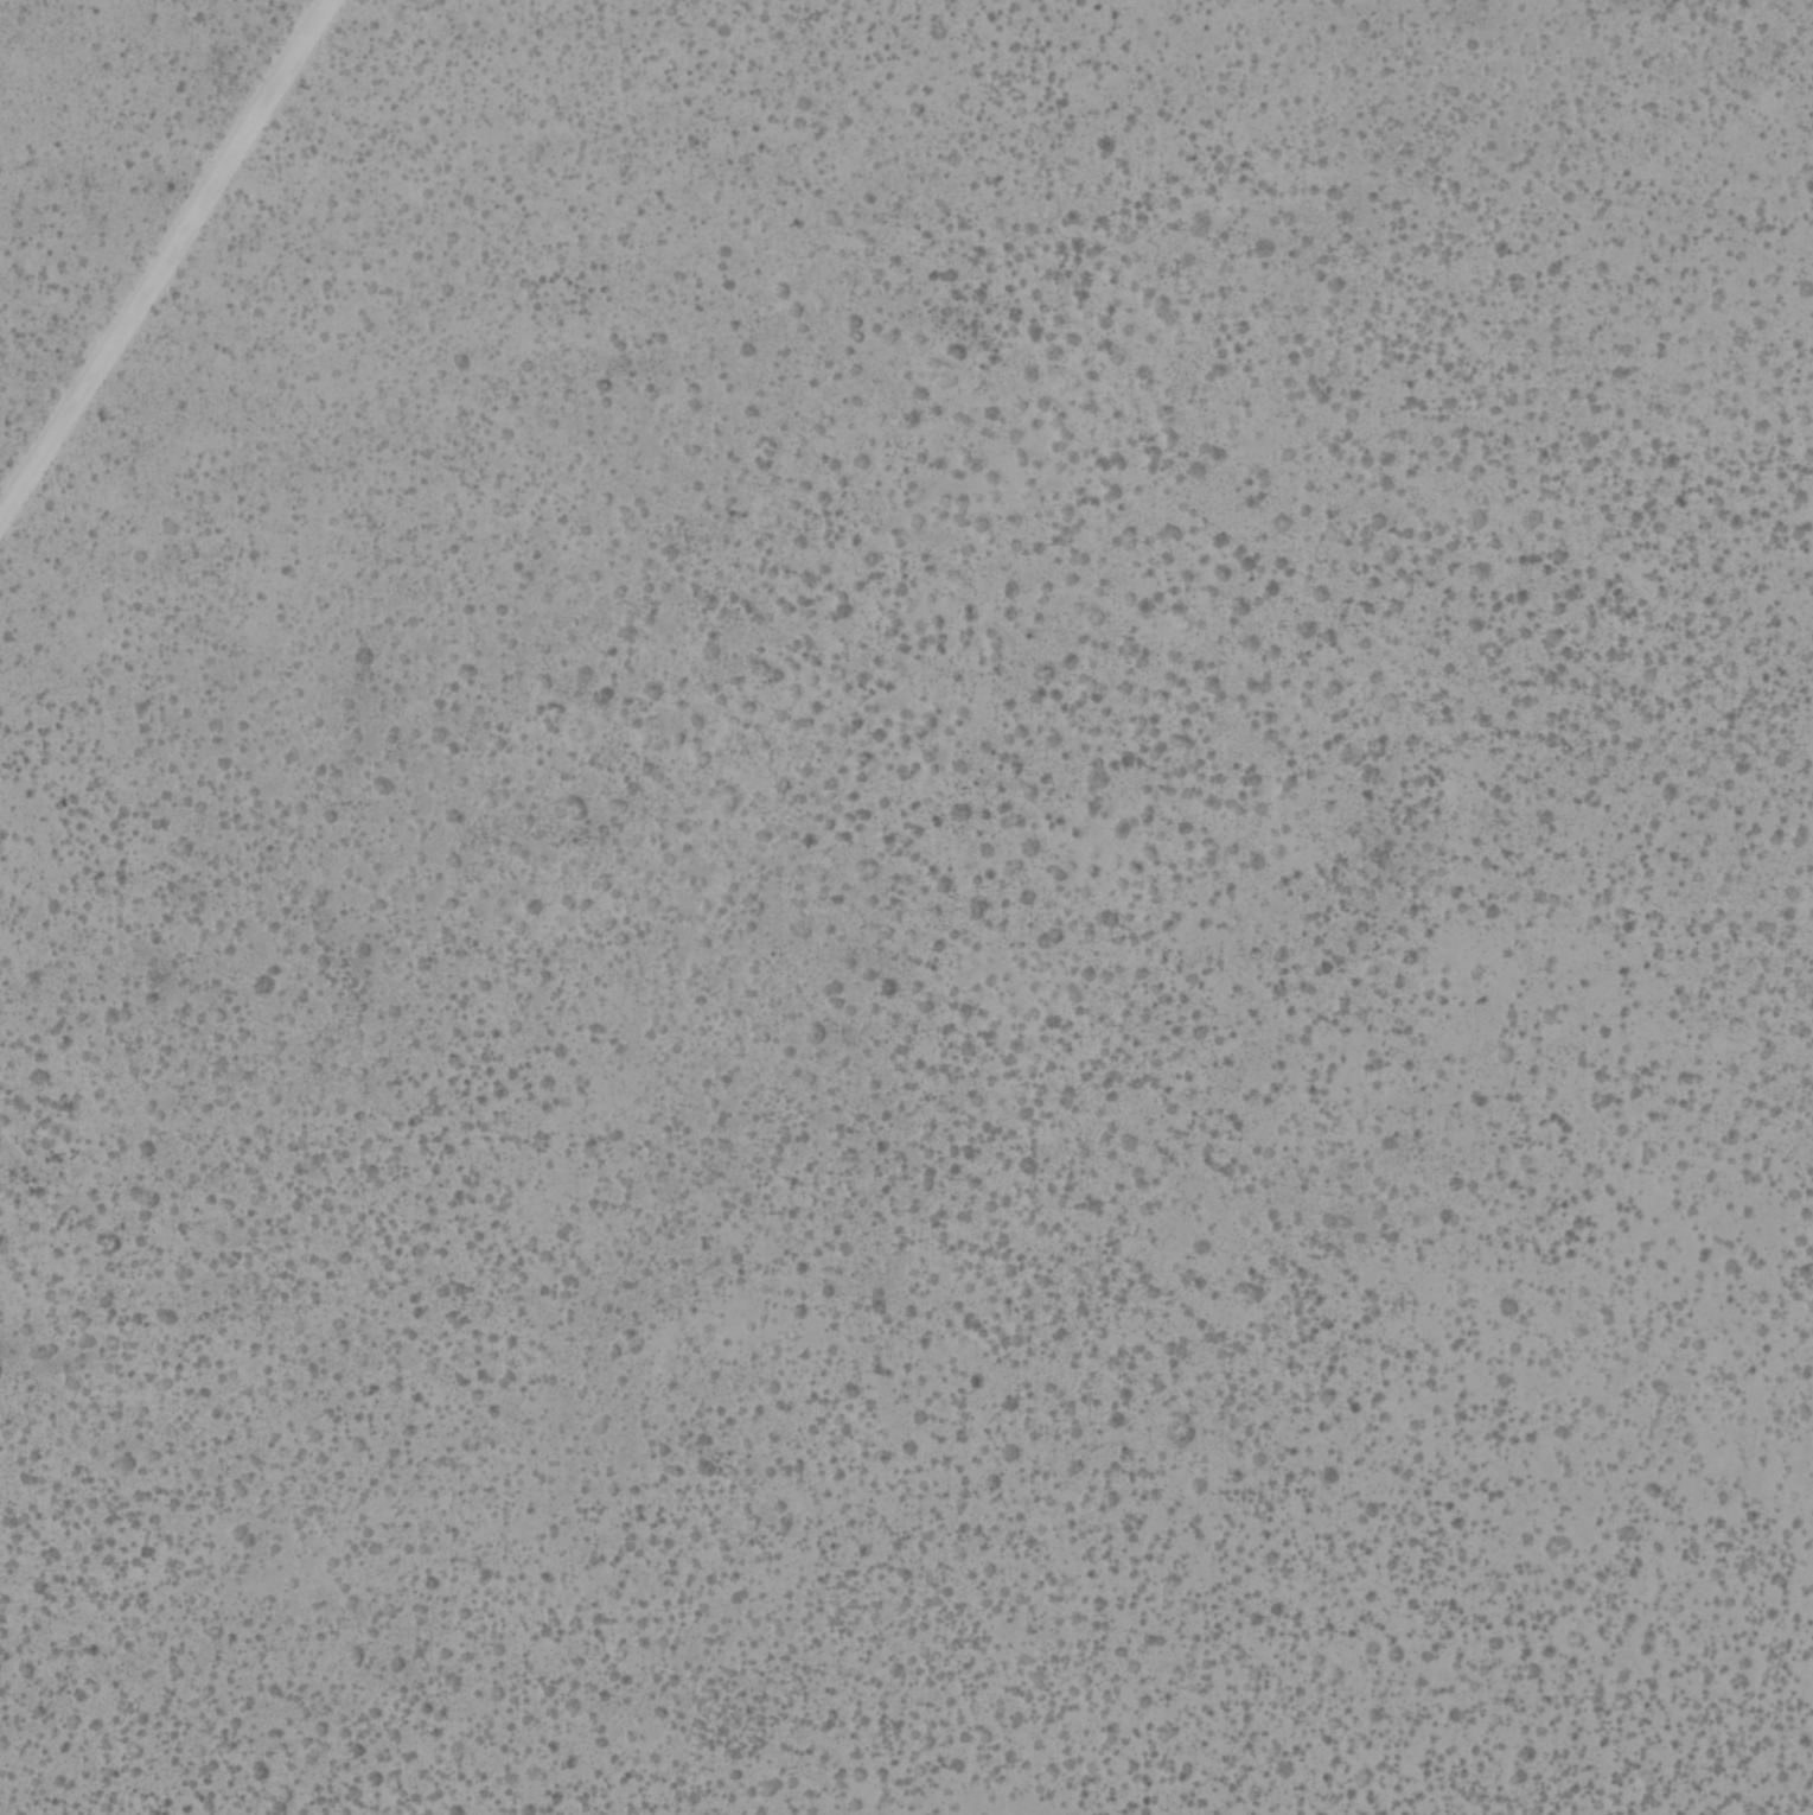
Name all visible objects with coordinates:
road: (162, 255)

